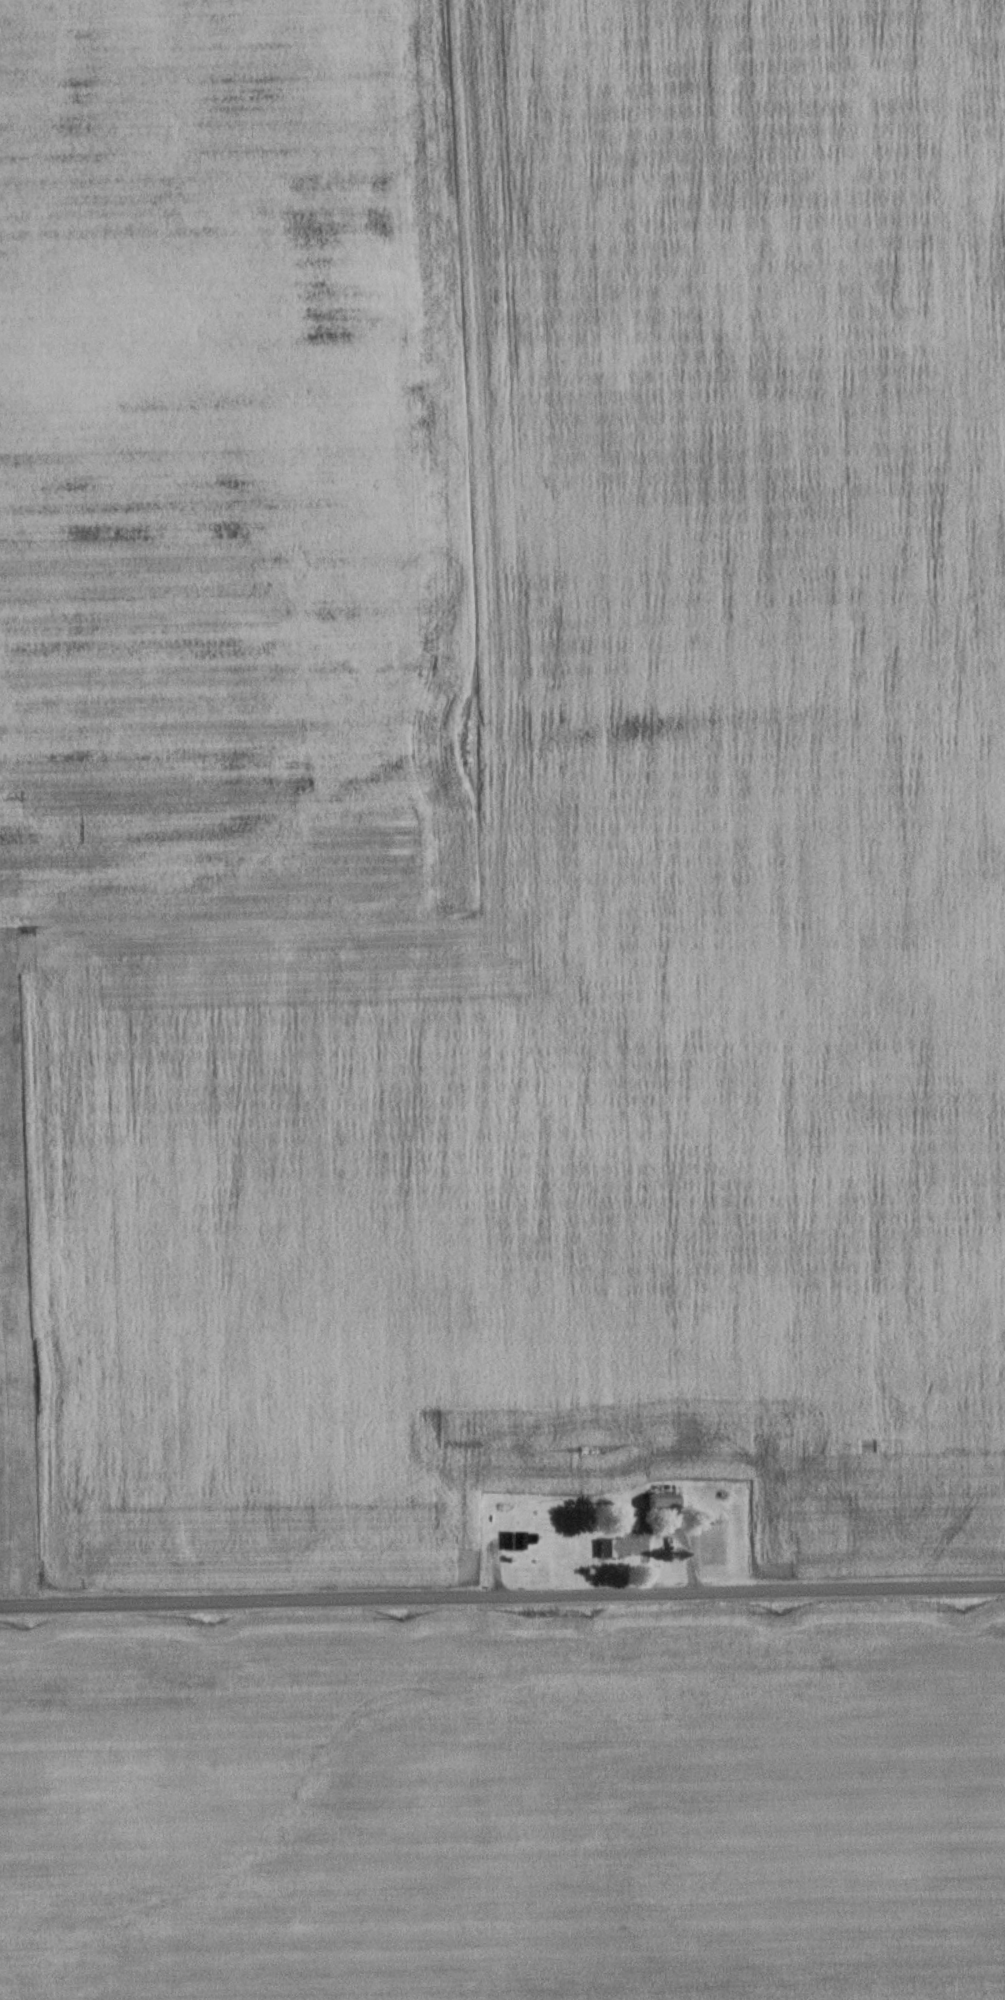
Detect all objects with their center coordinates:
road: (502, 1598)

